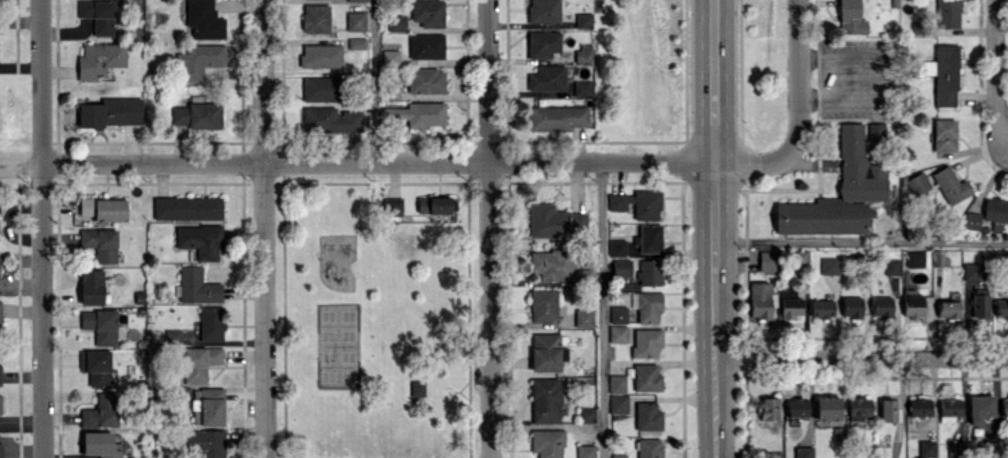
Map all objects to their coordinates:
building: (544, 10)
building: (429, 12)
building: (948, 13)
building: (851, 17)
building: (584, 20)
building: (543, 43)
building: (426, 46)
building: (583, 54)
road: (995, 70)
building: (944, 73)
building: (548, 78)
building: (426, 80)
road: (373, 81)
road: (39, 82)
building: (583, 88)
building: (416, 114)
road: (795, 117)
building: (557, 118)
building: (876, 131)
building: (945, 135)
road: (374, 161)
building: (862, 180)
building: (918, 183)
building: (951, 185)
building: (637, 203)
building: (435, 205)
building: (394, 208)
building: (996, 212)
building: (971, 220)
building: (556, 222)
road: (263, 228)
road: (487, 229)
road: (709, 229)
building: (649, 238)
road: (858, 242)
building: (617, 247)
building: (915, 259)
building: (767, 261)
building: (798, 261)
building: (553, 264)
building: (828, 265)
building: (891, 265)
building: (621, 267)
building: (972, 271)
building: (650, 272)
building: (759, 299)
building: (789, 303)
building: (912, 303)
building: (980, 303)
building: (543, 305)
building: (851, 306)
building: (881, 306)
building: (648, 307)
building: (1001, 307)
building: (821, 308)
road: (602, 309)
building: (948, 309)
road: (41, 311)
park: (375, 314)
building: (618, 314)
building: (583, 317)
building: (618, 333)
building: (646, 342)
park: (338, 345)
building: (546, 352)
road: (859, 356)
building: (646, 377)
building: (616, 383)
building: (418, 387)
building: (545, 400)
building: (618, 403)
building: (920, 406)
building: (796, 407)
building: (827, 407)
building: (1004, 407)
building: (768, 408)
building: (858, 408)
building: (980, 408)
building: (949, 409)
building: (888, 410)
building: (585, 415)
building: (647, 416)
building: (547, 443)
park: (341, 447)
building: (649, 448)
building: (927, 449)
building: (956, 450)
building: (585, 451)
building: (803, 452)
building: (618, 455)

